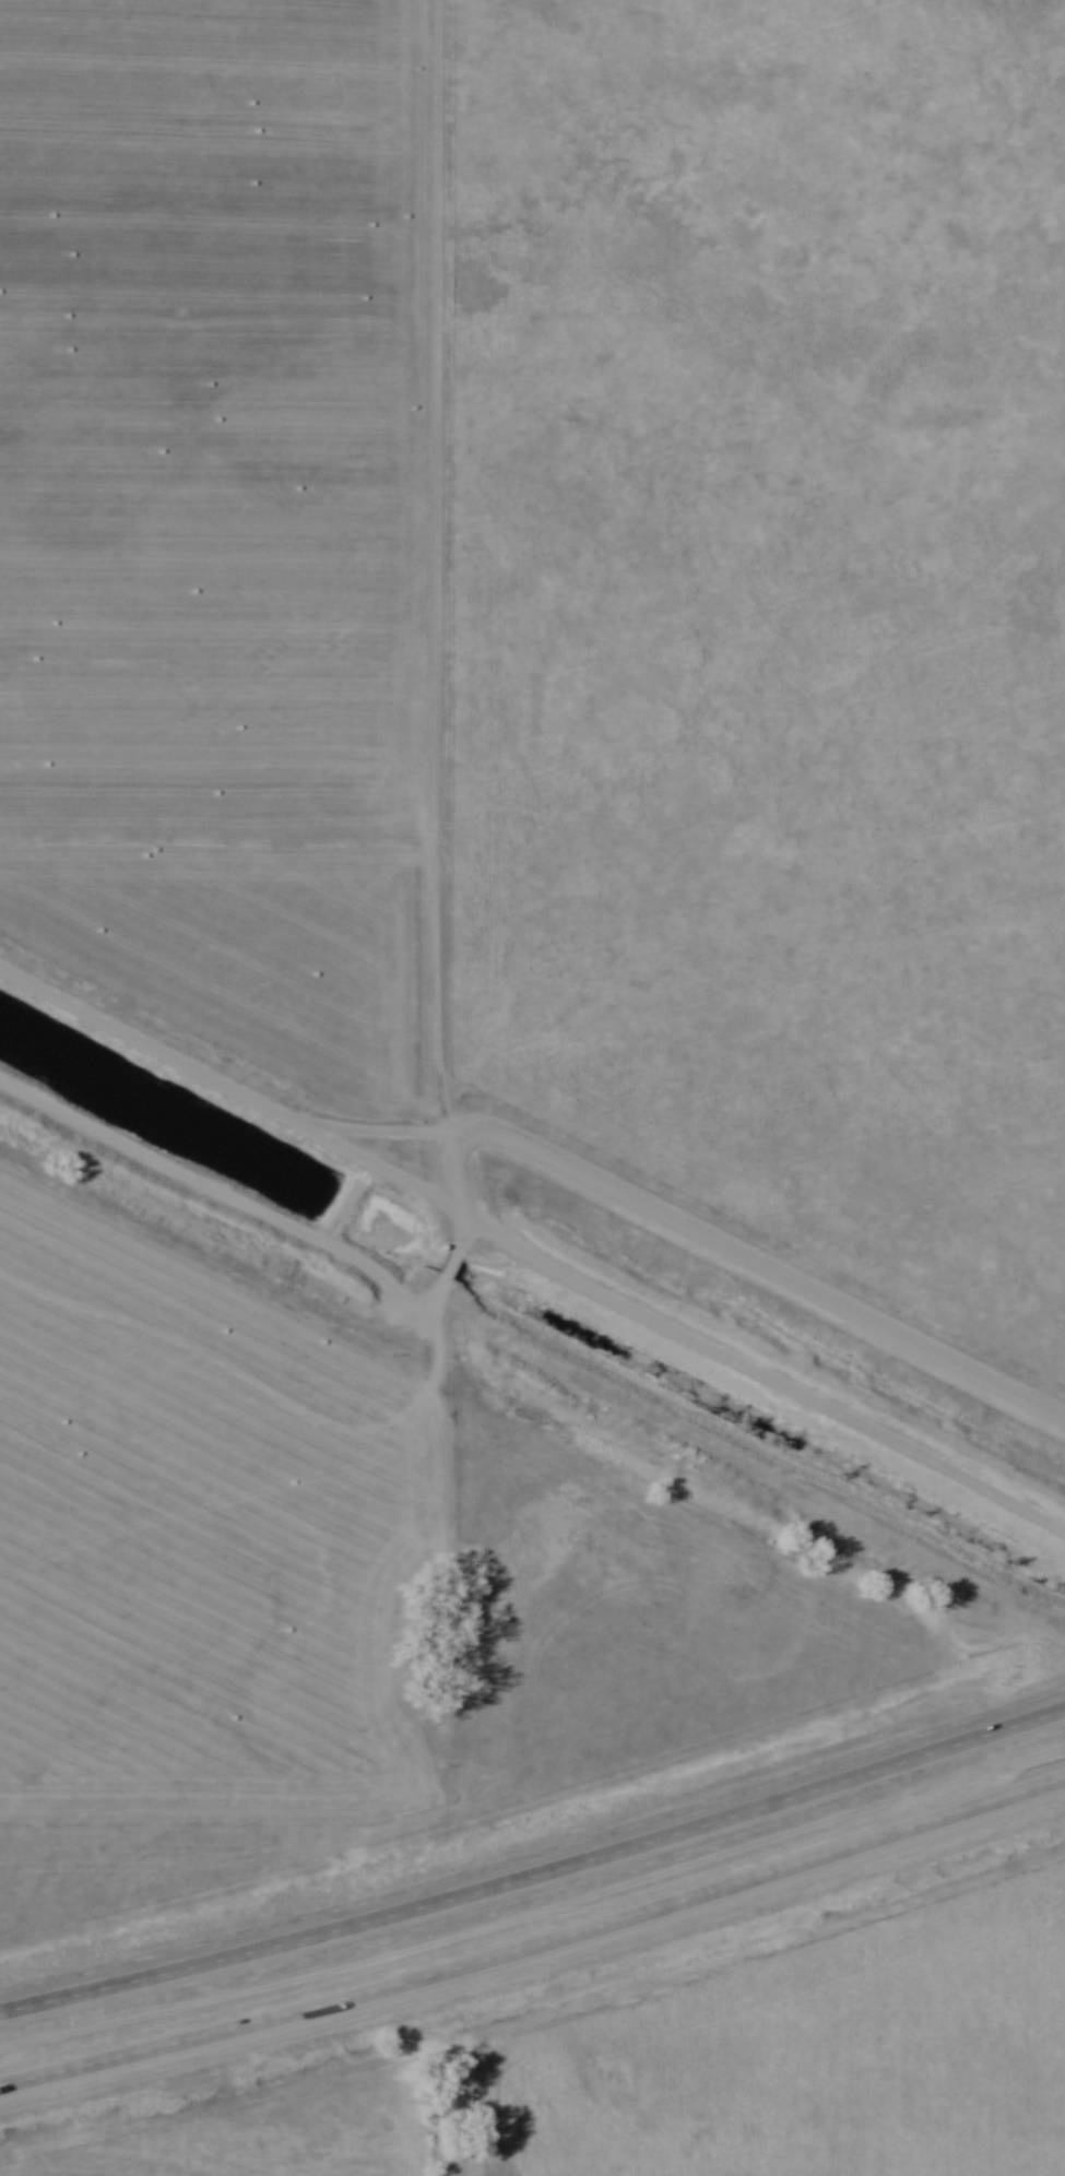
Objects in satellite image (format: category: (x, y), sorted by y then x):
road: (214, 1083)
road: (449, 1193)
road: (225, 1197)
road: (758, 1265)
road: (451, 1267)
road: (681, 1337)
road: (536, 1873)
road: (536, 1947)

